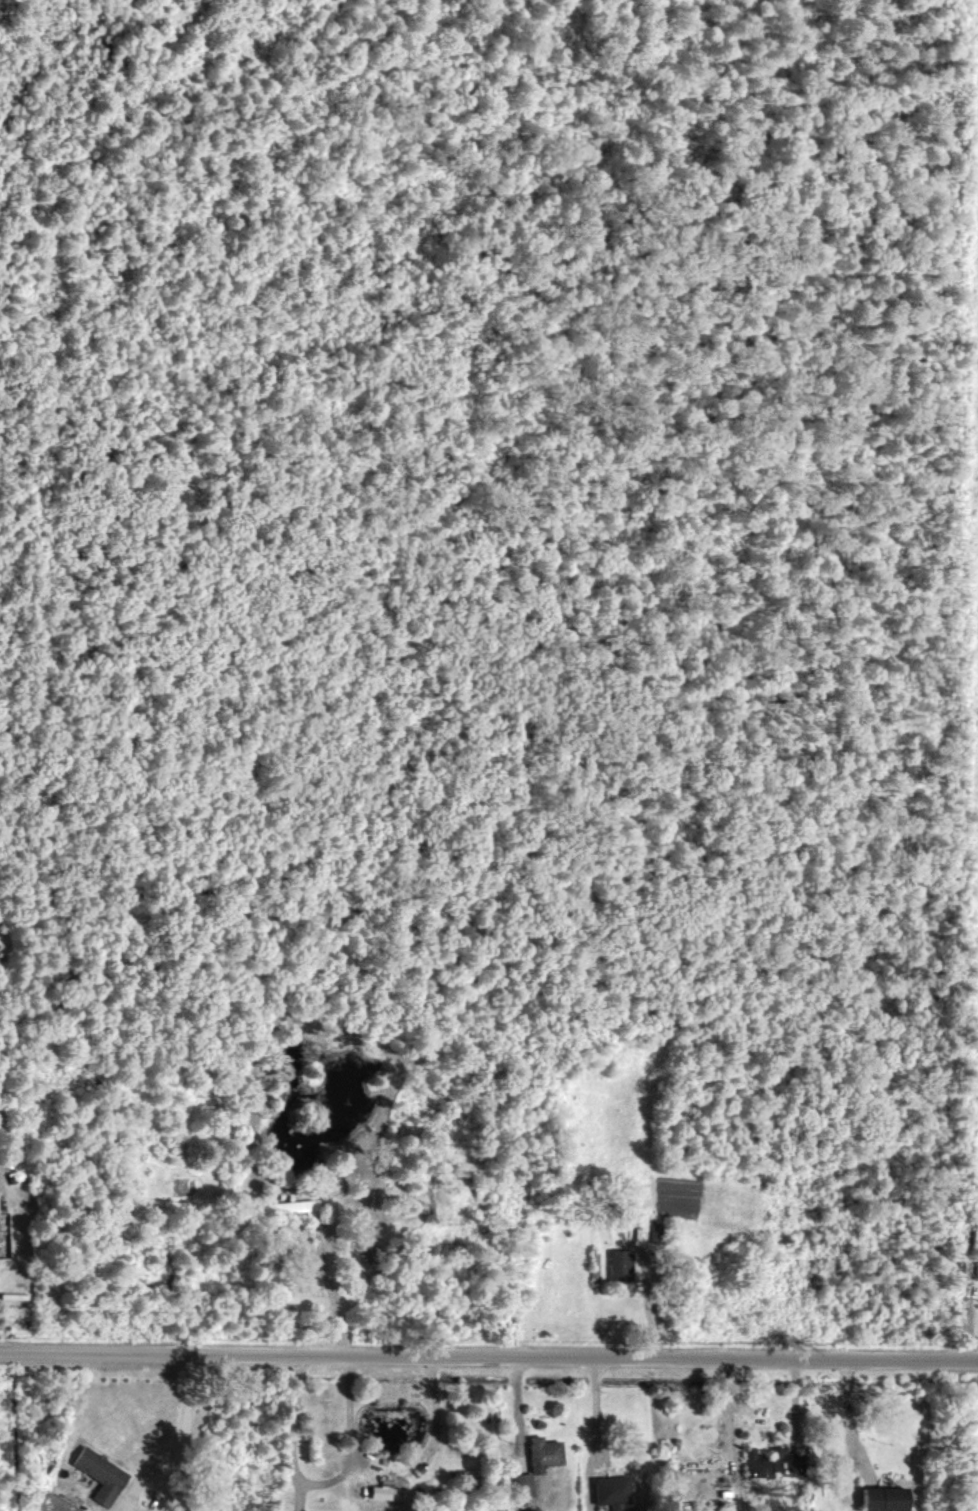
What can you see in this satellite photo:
building: (295, 1207)
building: (973, 1238)
building: (619, 1264)
road: (333, 1288)
road: (649, 1306)
road: (964, 1324)
road: (489, 1358)
road: (190, 1389)
road: (590, 1411)
road: (853, 1415)
road: (437, 1417)
road: (764, 1423)
building: (542, 1453)
building: (774, 1462)
road: (155, 1465)
road: (183, 1470)
building: (100, 1474)
road: (320, 1483)
building: (522, 1484)
building: (611, 1489)
building: (381, 1492)
building: (885, 1498)

